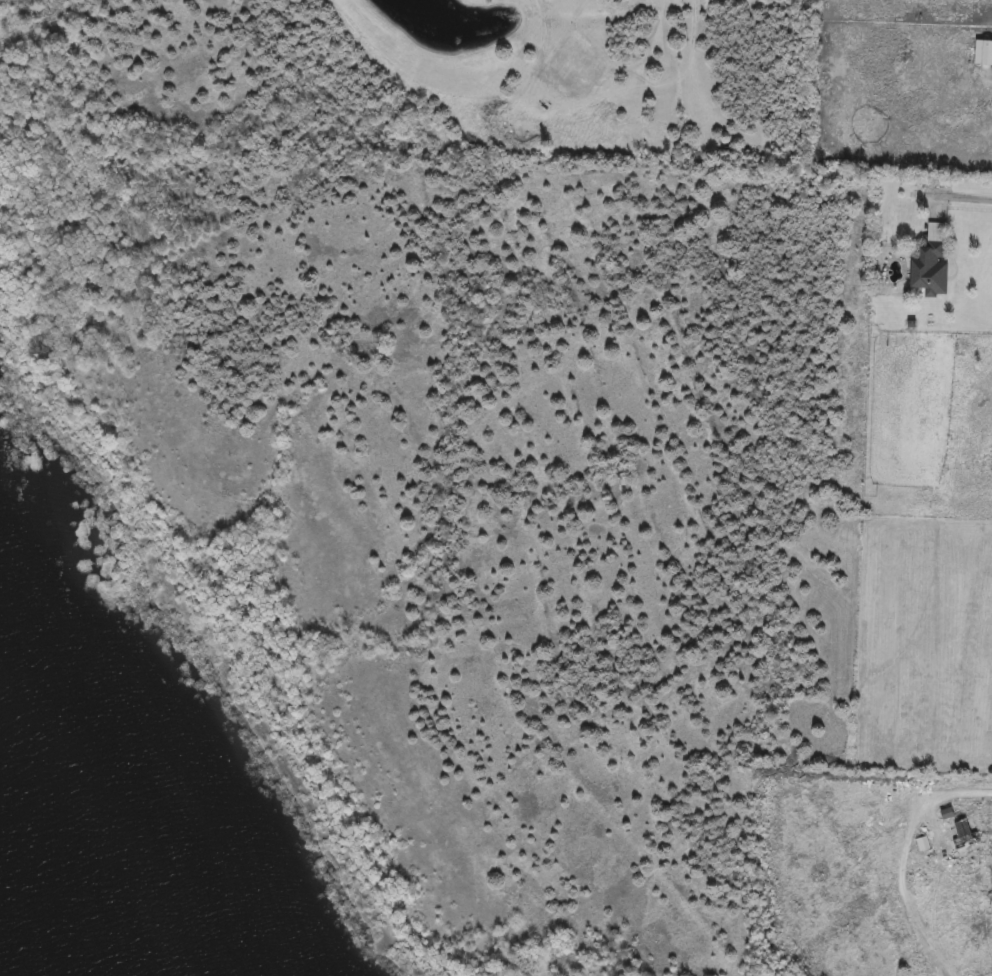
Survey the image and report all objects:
building: (983, 54)
road: (953, 196)
building: (931, 262)
building: (963, 836)
road: (903, 858)

